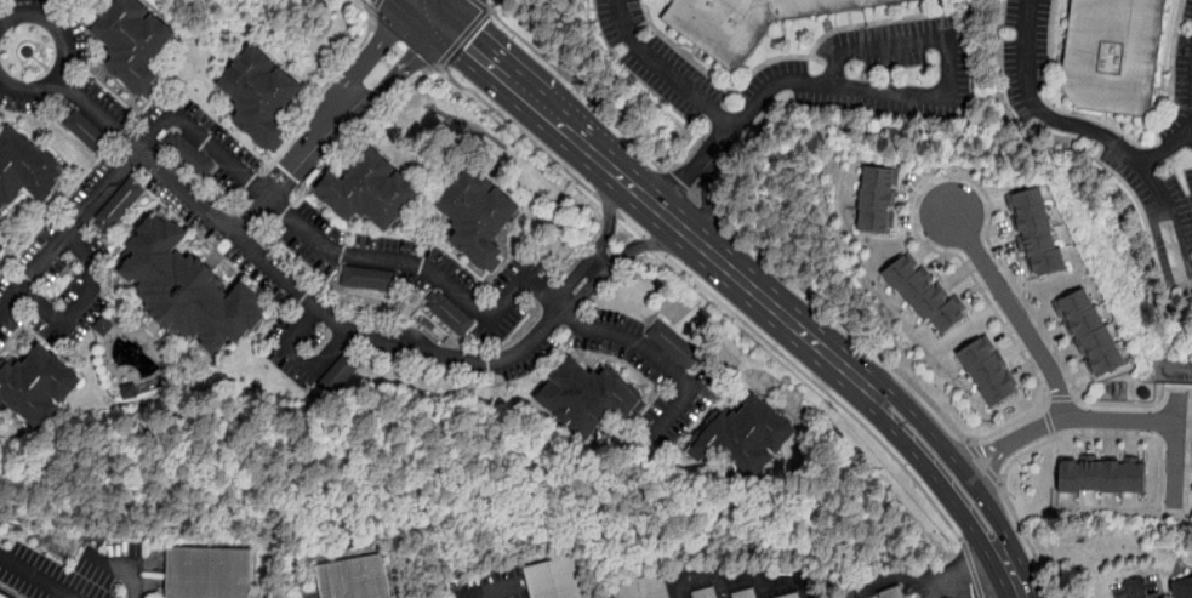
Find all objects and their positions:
road: (377, 4)
road: (481, 5)
road: (372, 8)
road: (428, 12)
road: (454, 12)
building: (748, 22)
road: (873, 22)
road: (1185, 22)
road: (464, 36)
road: (1050, 41)
building: (138, 42)
traffic signals: (466, 46)
traffic signals: (418, 51)
road: (681, 51)
road: (65, 52)
road: (1171, 52)
road: (369, 56)
building: (1119, 56)
road: (765, 59)
road: (666, 70)
road: (393, 76)
road: (326, 82)
road: (578, 87)
road: (523, 93)
building: (262, 95)
road: (934, 99)
road: (715, 113)
building: (89, 131)
road: (520, 131)
road: (1099, 132)
road: (723, 139)
road: (695, 146)
road: (1165, 149)
building: (189, 154)
building: (25, 169)
road: (286, 175)
road: (956, 175)
road: (685, 181)
road: (631, 186)
building: (370, 190)
road: (689, 192)
building: (878, 199)
road: (706, 203)
building: (120, 204)
road: (609, 206)
building: (478, 215)
road: (632, 226)
road: (679, 227)
building: (1036, 232)
road: (68, 234)
road: (603, 241)
building: (0, 245)
road: (655, 245)
road: (706, 250)
road: (340, 252)
road: (621, 255)
building: (369, 279)
road: (290, 284)
building: (189, 289)
building: (924, 294)
road: (81, 302)
road: (1016, 312)
building: (450, 314)
road: (791, 323)
building: (105, 325)
road: (846, 326)
building: (1089, 334)
building: (673, 343)
road: (655, 355)
road: (301, 358)
building: (986, 371)
building: (340, 374)
building: (36, 386)
road: (821, 387)
building: (588, 397)
road: (1074, 397)
road: (1046, 398)
road: (1061, 398)
road: (1044, 408)
road: (1087, 417)
road: (1049, 421)
building: (743, 435)
road: (1054, 435)
road: (1040, 443)
road: (971, 449)
road: (1176, 449)
road: (970, 450)
road: (952, 461)
road: (982, 462)
road: (937, 474)
building: (1102, 474)
road: (992, 475)
road: (991, 477)
road: (1000, 484)
road: (1191, 489)
road: (120, 568)
road: (971, 569)
road: (962, 574)
road: (42, 576)
building: (213, 576)
building: (355, 577)
road: (1013, 577)
building: (558, 579)
road: (740, 579)
road: (890, 579)
building: (644, 587)
road: (678, 588)
road: (722, 588)
road: (764, 588)
road: (805, 588)
building: (1184, 591)
road: (1139, 592)
building: (705, 593)
building: (890, 593)
building: (5, 594)
building: (743, 594)
building: (793, 596)

